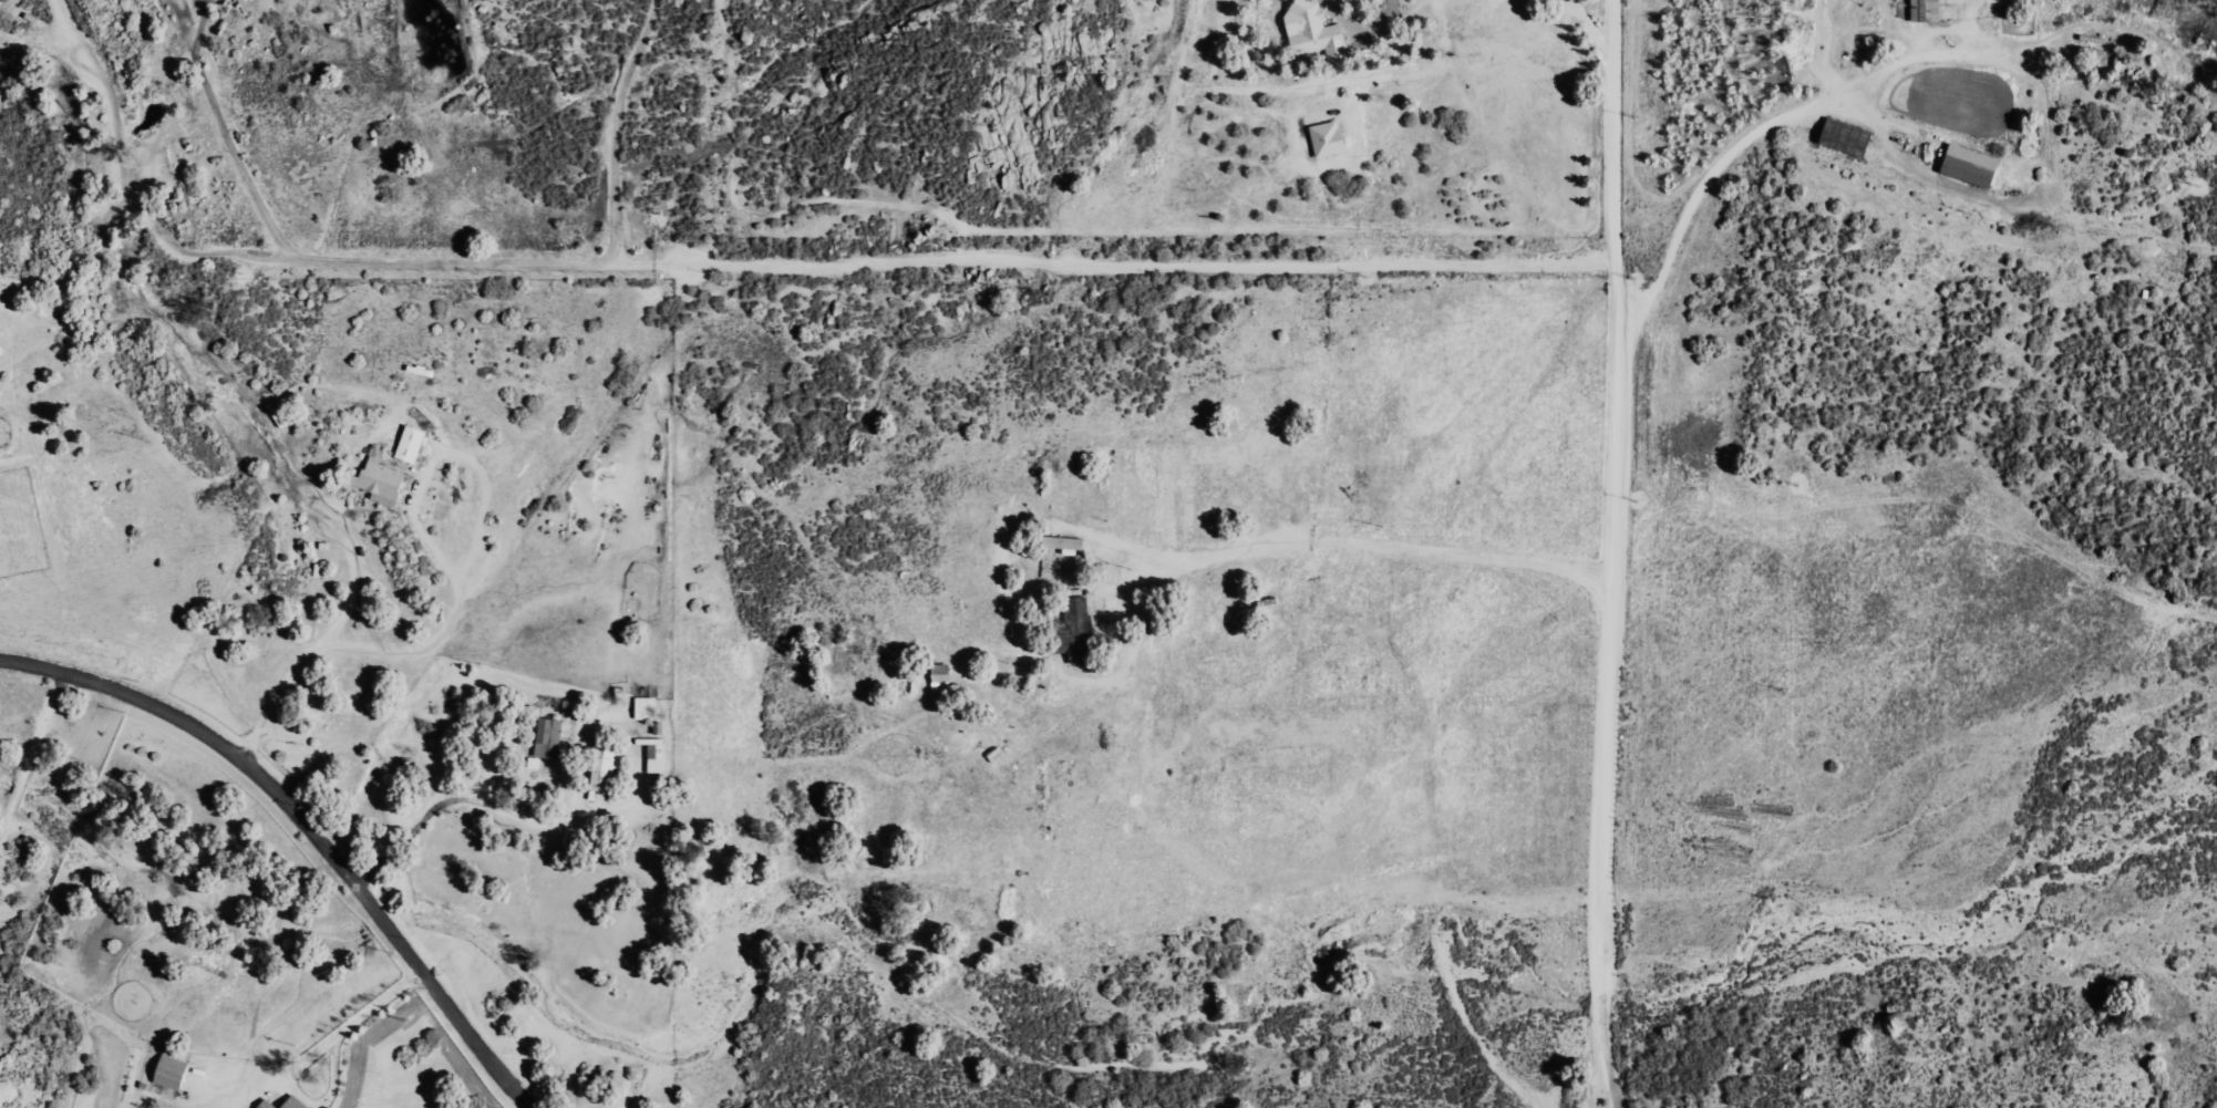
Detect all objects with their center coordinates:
building: (1927, 10)
building: (1317, 31)
building: (1849, 137)
building: (1330, 138)
building: (1972, 165)
building: (412, 444)
building: (381, 480)
building: (1068, 543)
road: (1608, 555)
building: (1079, 607)
building: (1082, 651)
building: (942, 676)
building: (647, 707)
building: (551, 738)
building: (657, 758)
building: (605, 769)
road: (307, 819)
building: (173, 1073)
building: (296, 1104)
building: (268, 1105)

